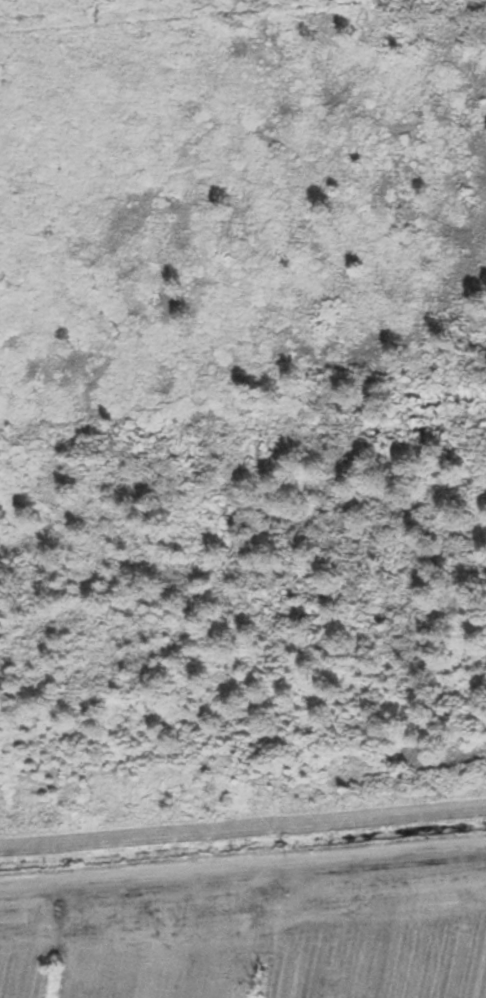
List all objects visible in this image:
road: (243, 827)
road: (243, 862)

